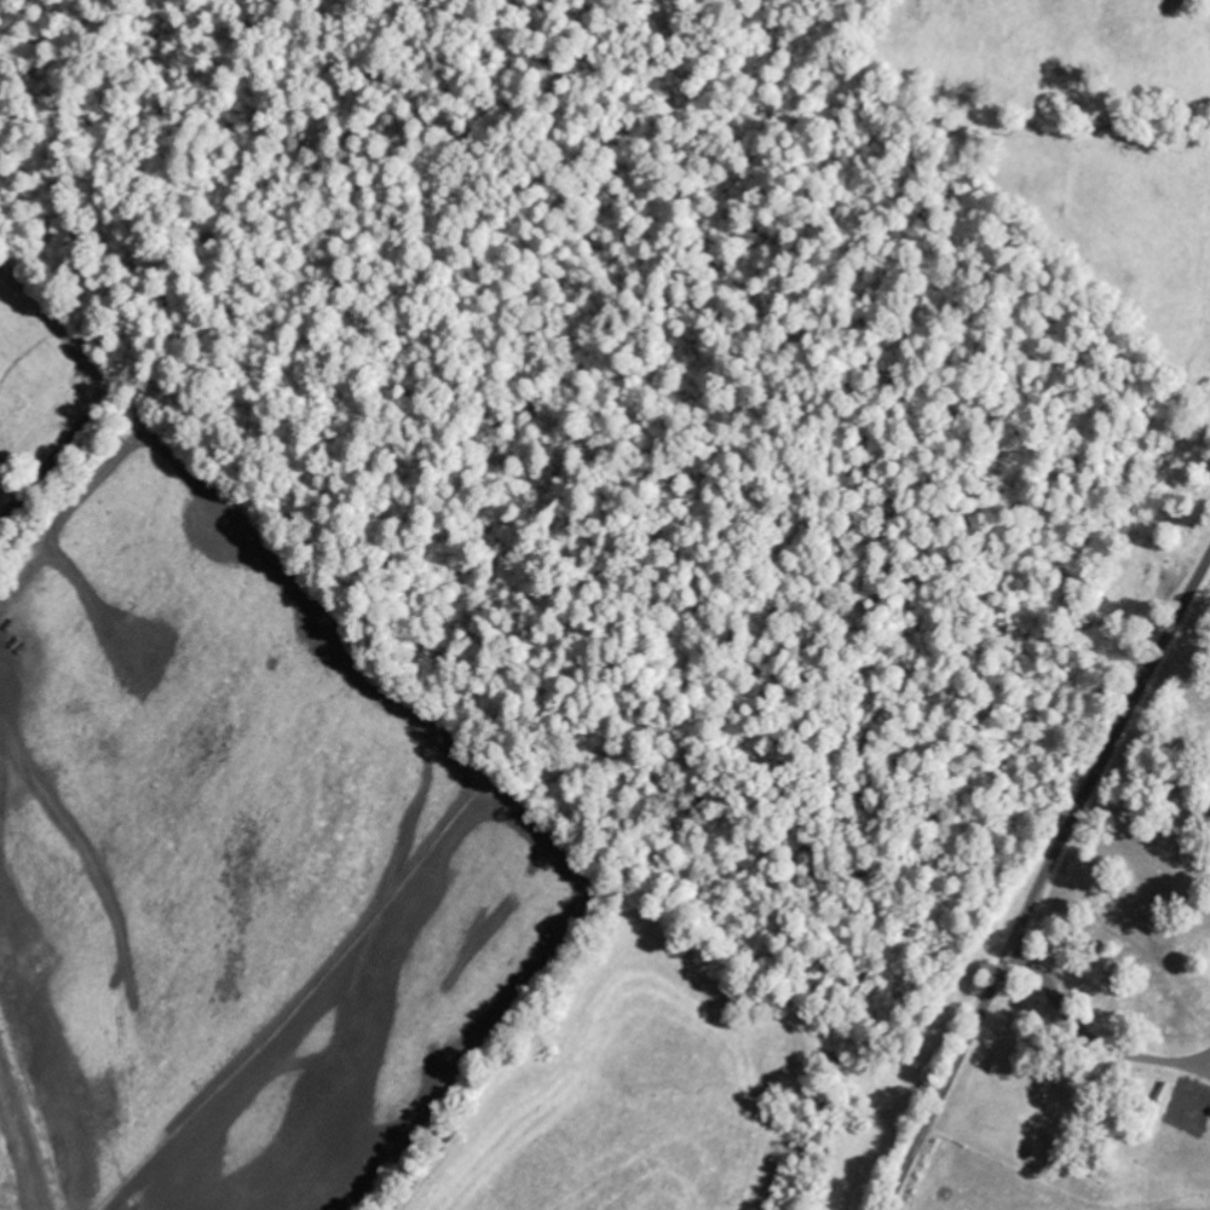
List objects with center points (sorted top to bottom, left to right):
road: (1048, 882)

